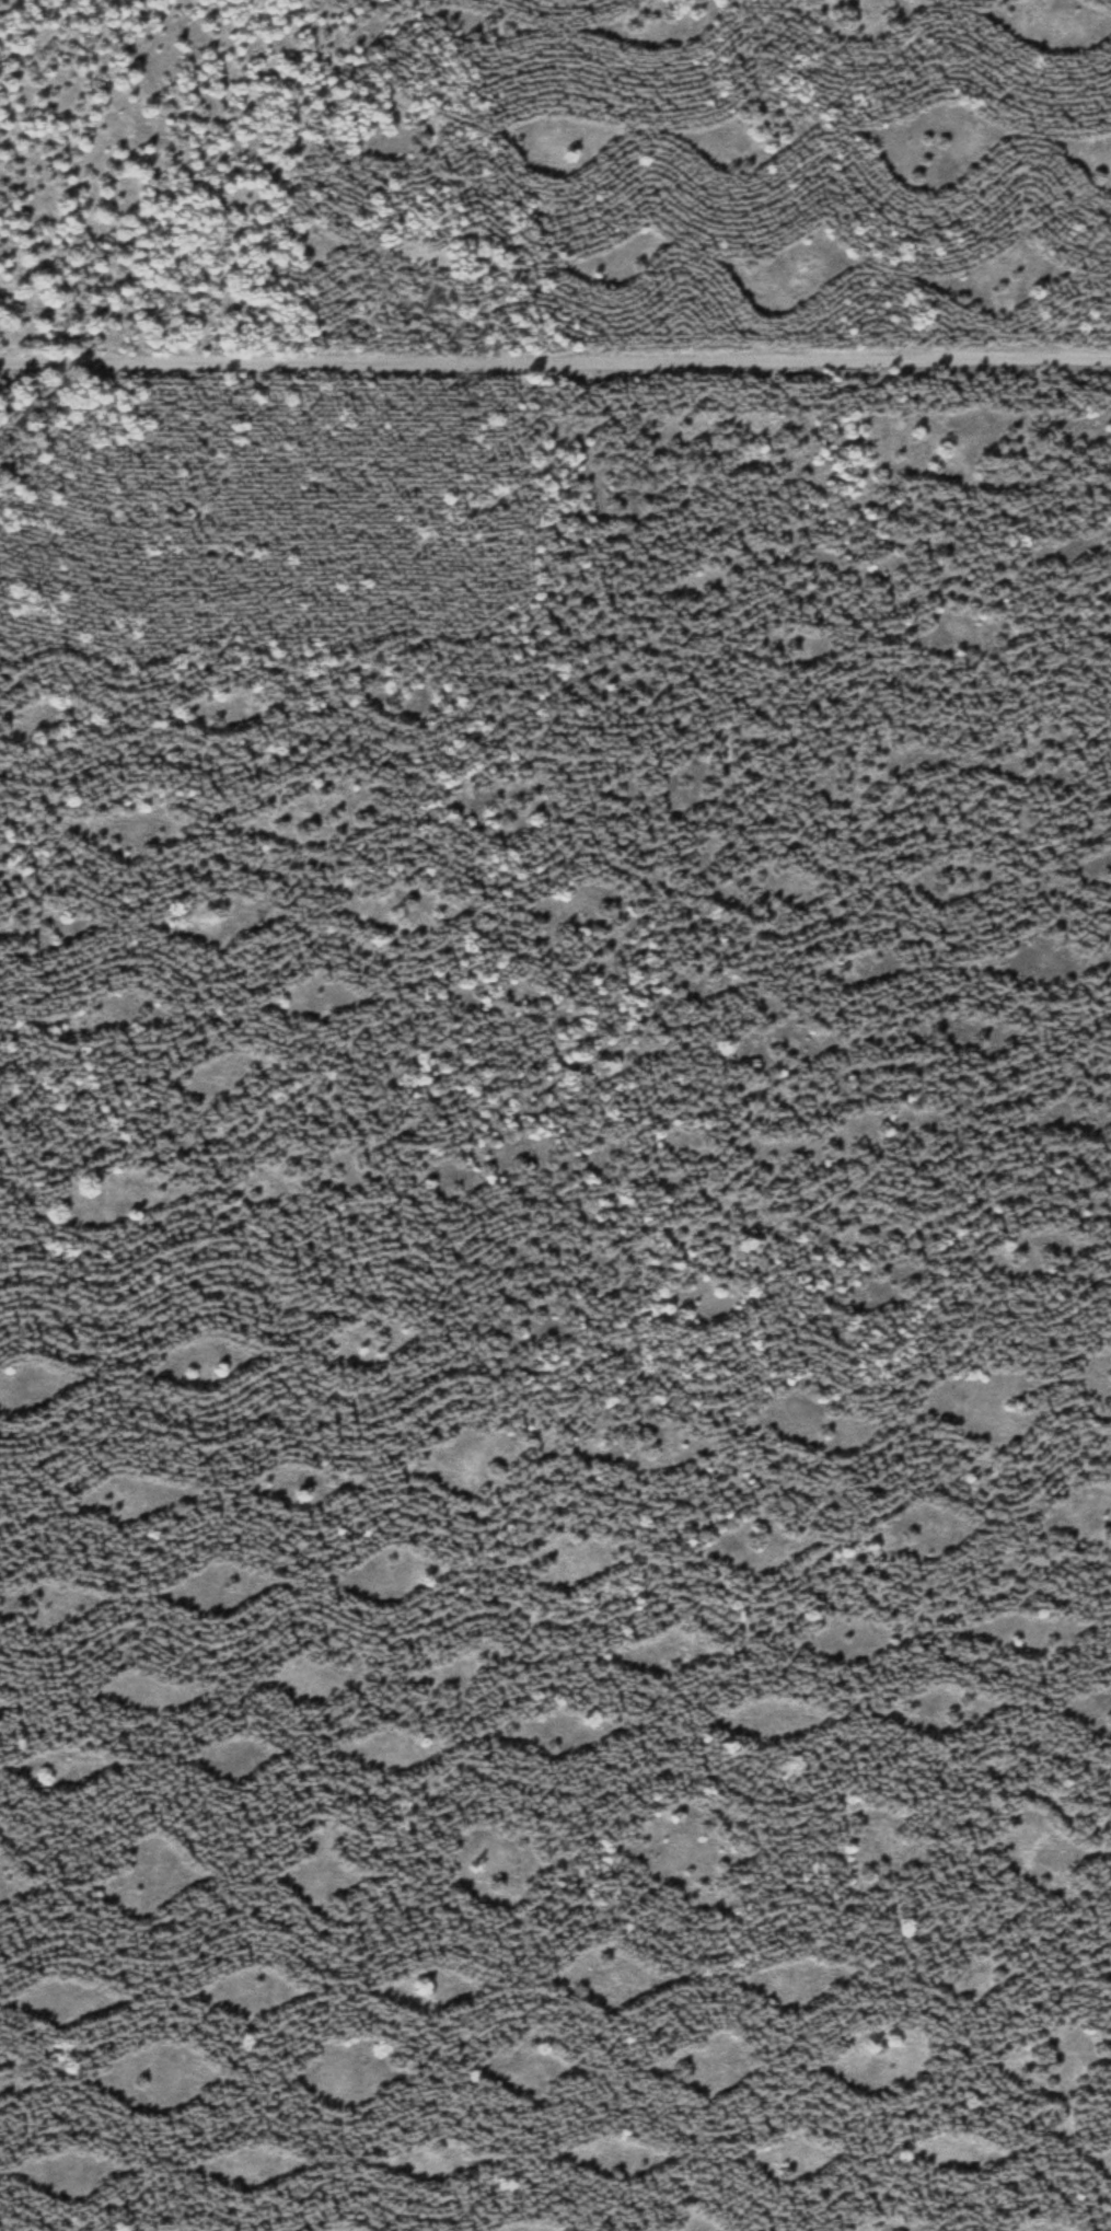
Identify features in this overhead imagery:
road: (555, 362)

